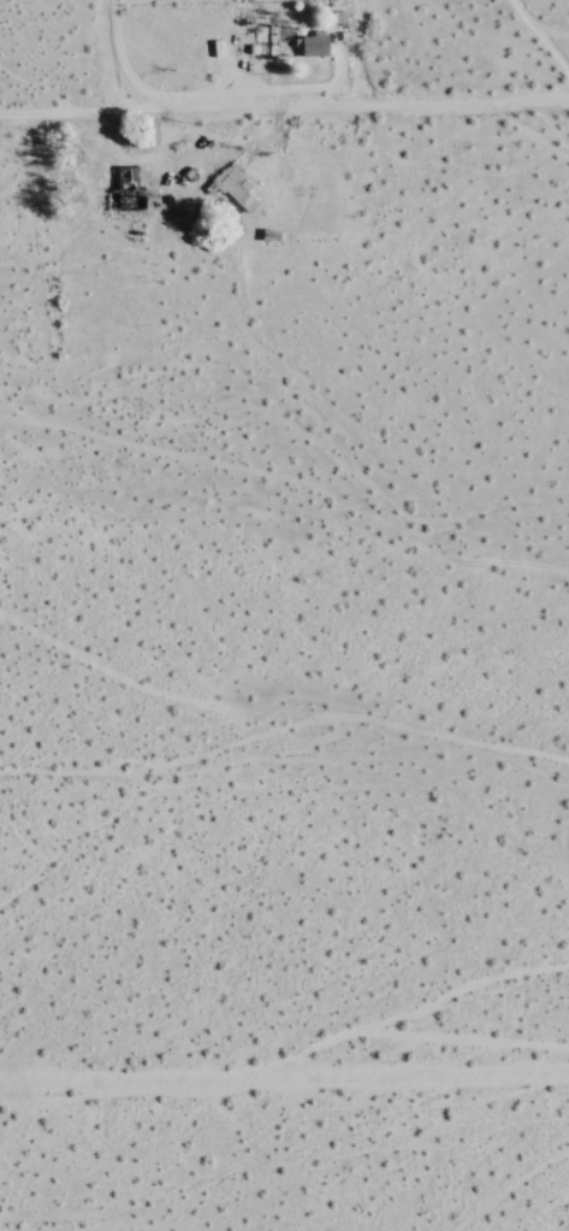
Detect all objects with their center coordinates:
building: (315, 46)
road: (103, 54)
road: (355, 54)
road: (284, 108)
building: (233, 188)
building: (129, 192)
road: (284, 1077)

